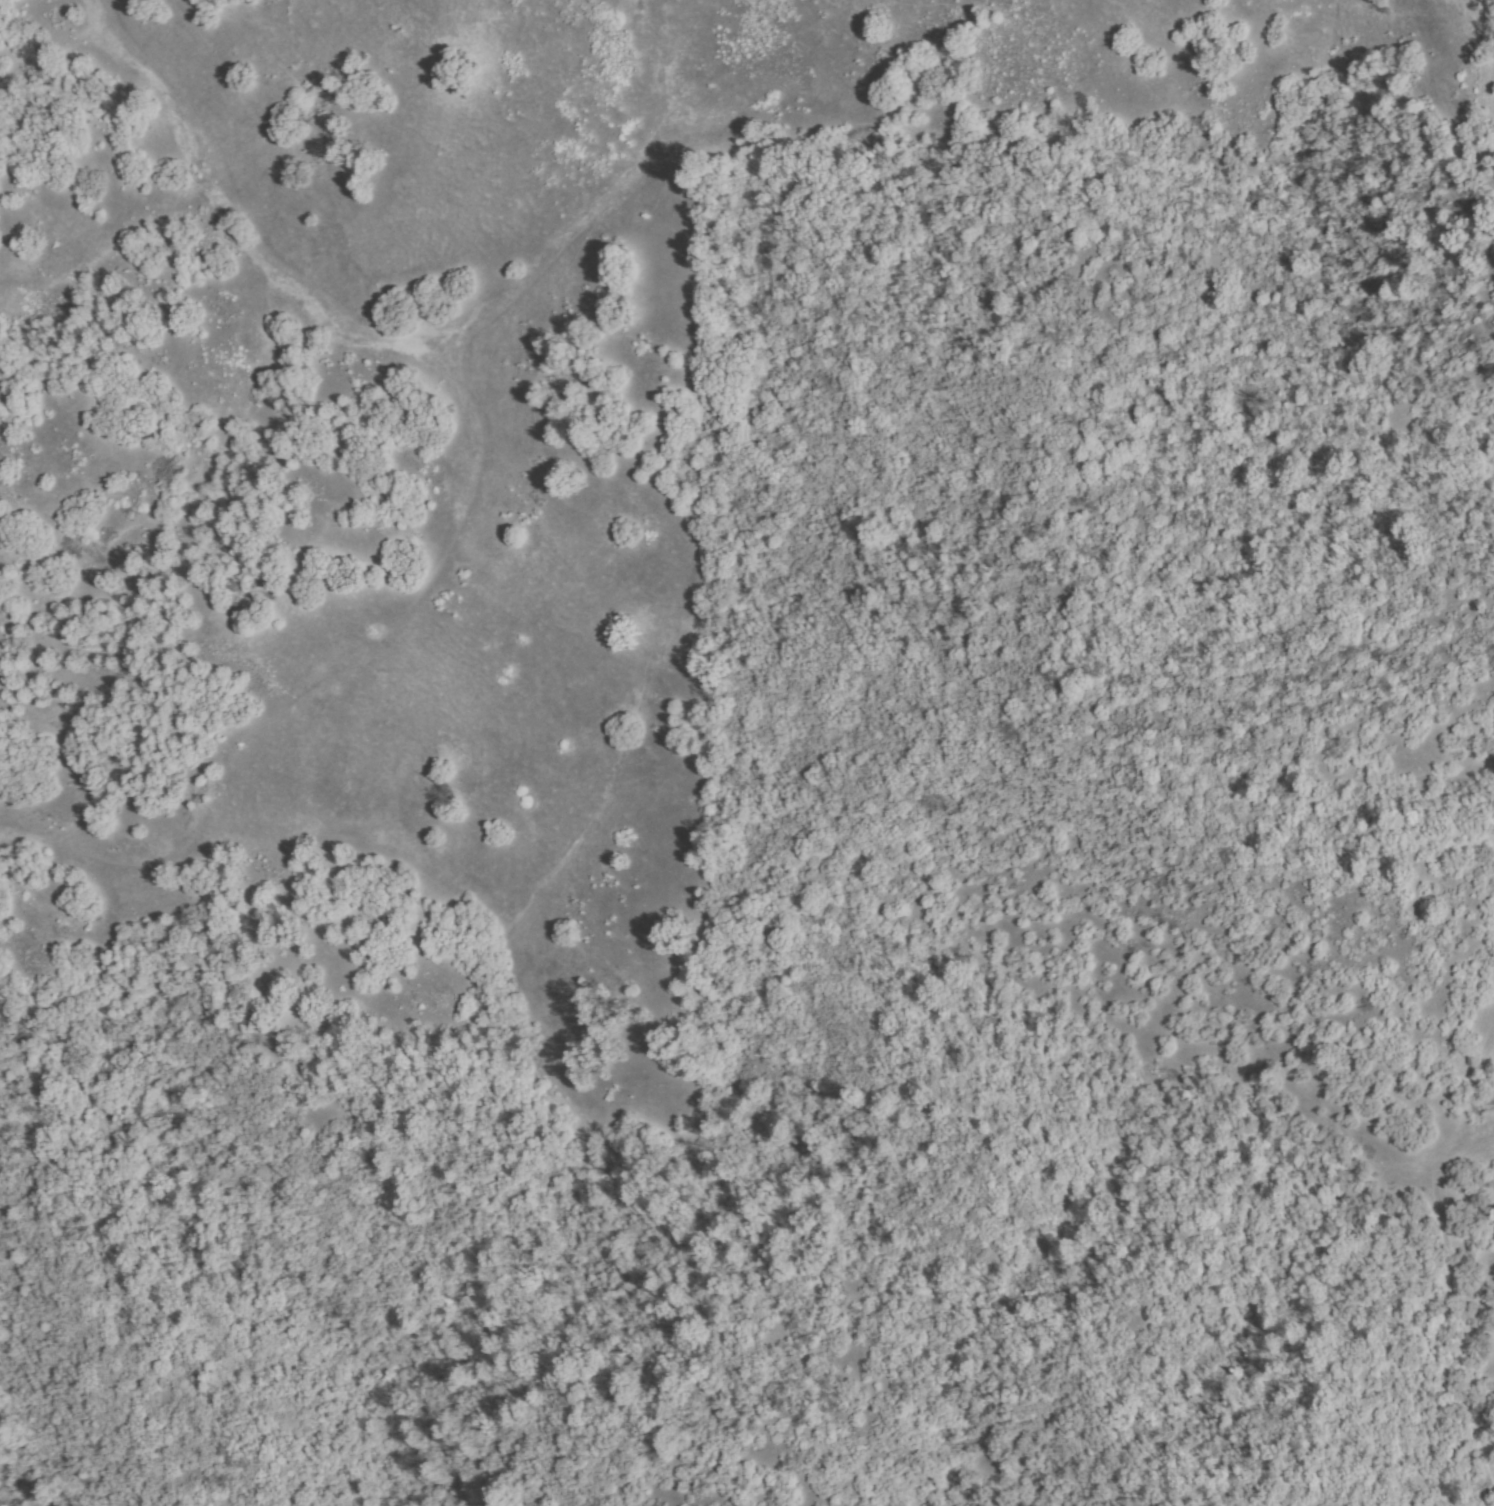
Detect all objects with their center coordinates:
road: (1446, 1243)

